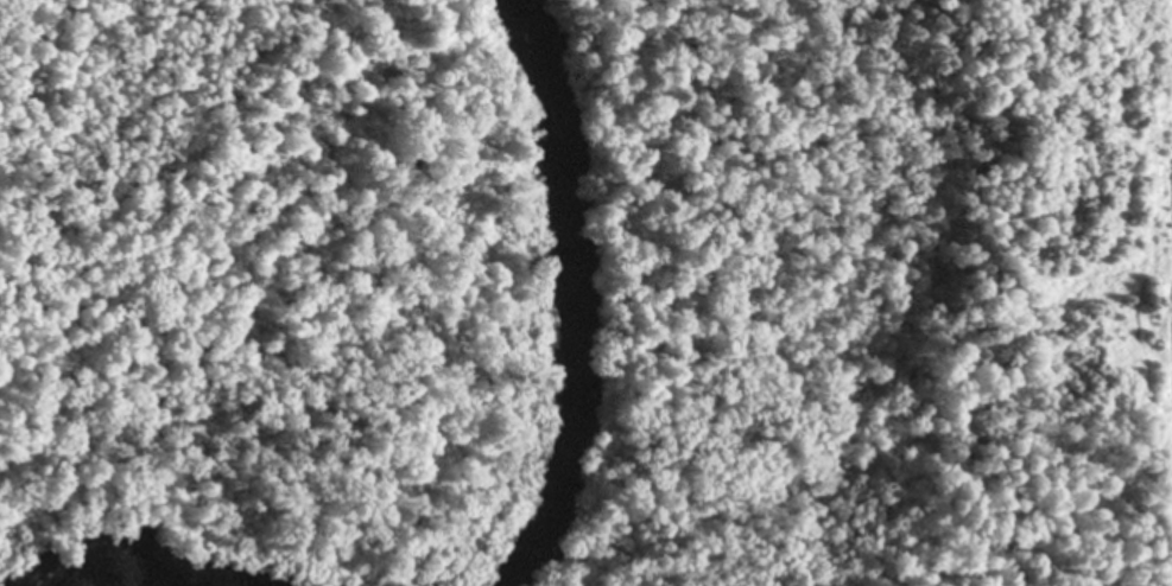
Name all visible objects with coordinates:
river: (566, 274)
river: (441, 569)
river: (110, 580)

